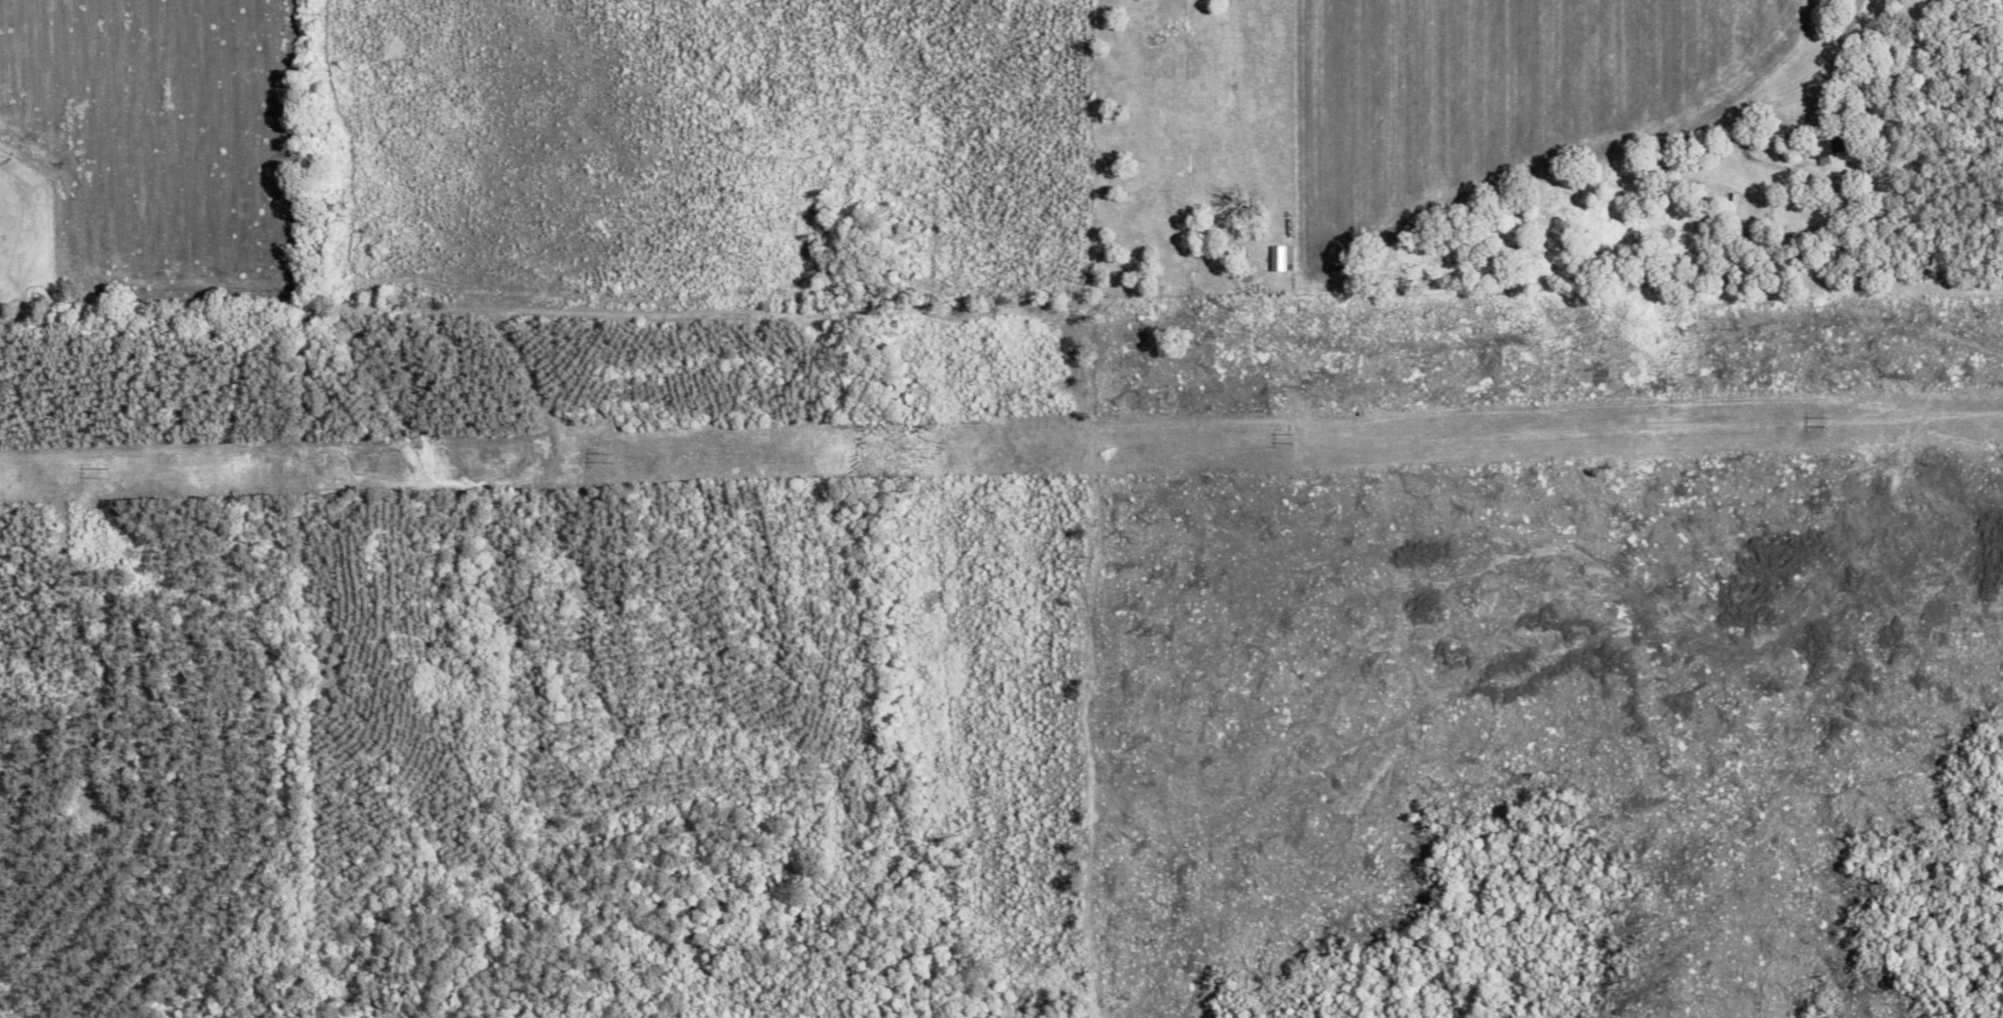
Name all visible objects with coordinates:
road: (1224, 59)
road: (1783, 99)
building: (1828, 148)
building: (1281, 258)

